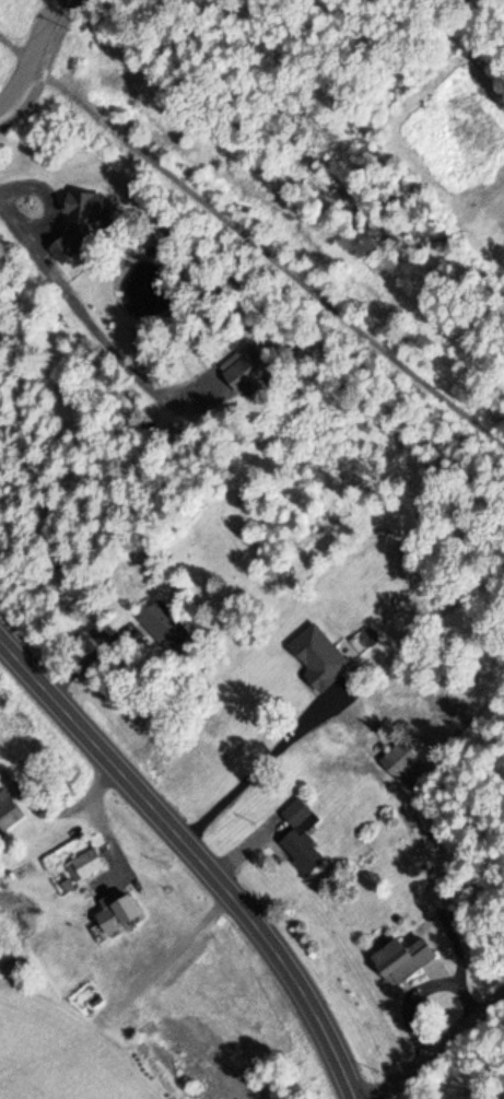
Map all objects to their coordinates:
road: (30, 52)
road: (45, 66)
building: (244, 367)
building: (168, 630)
building: (400, 761)
building: (8, 811)
building: (300, 835)
road: (197, 853)
building: (85, 862)
building: (116, 909)
building: (401, 959)
road: (444, 1053)

